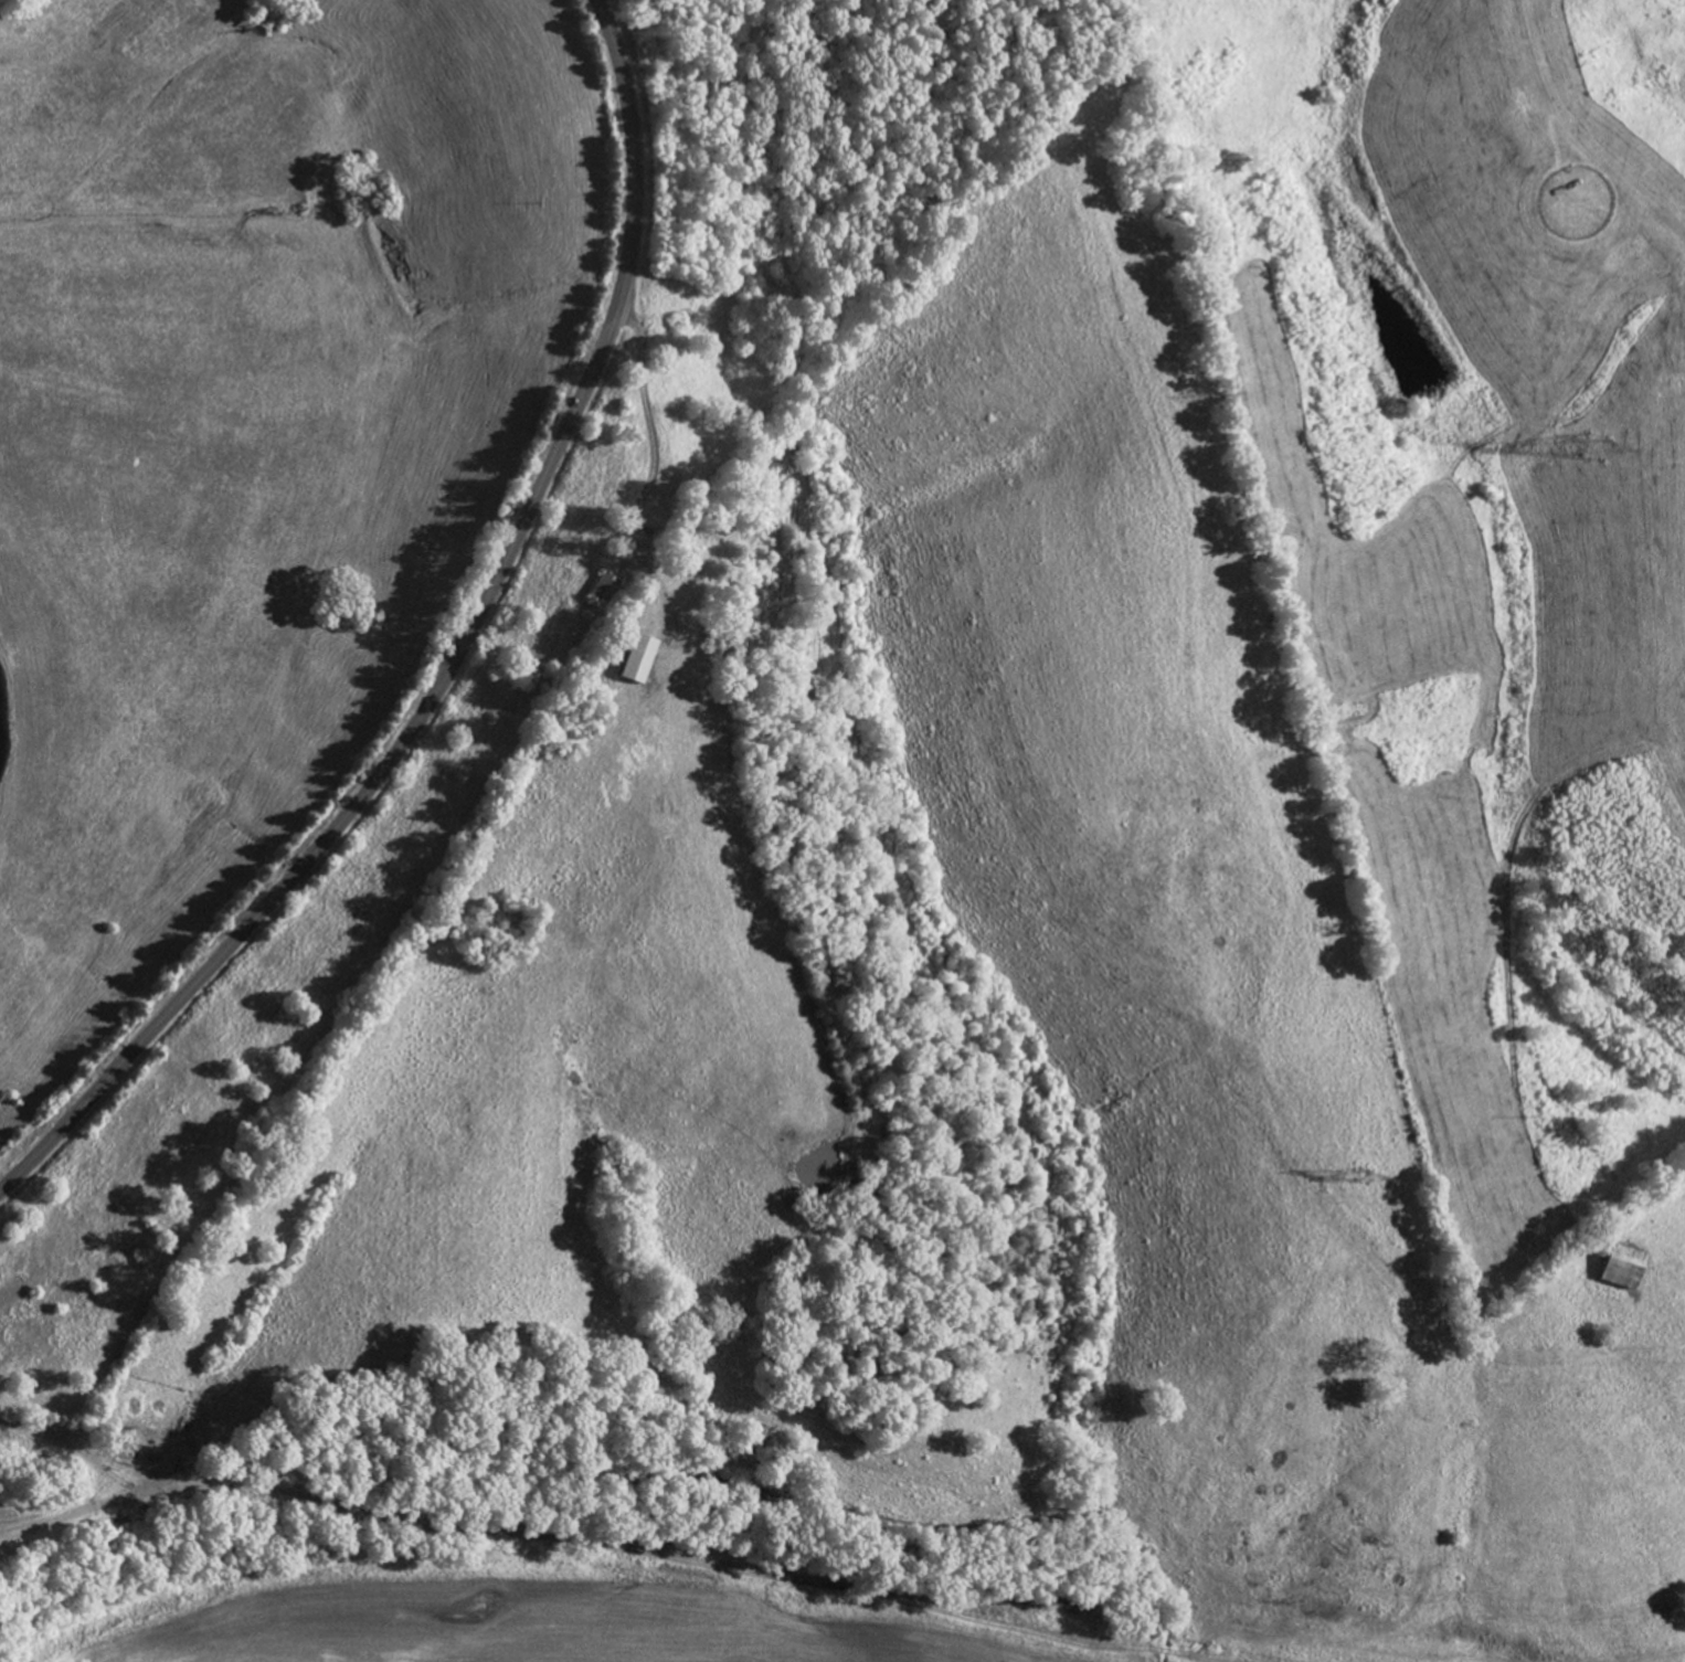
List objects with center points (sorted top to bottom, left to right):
road: (35, 39)
road: (633, 151)
road: (651, 428)
power tower: (1602, 445)
building: (607, 589)
building: (640, 658)
road: (369, 790)
power tower: (1368, 1173)
building: (1626, 1266)
road: (473, 1431)

